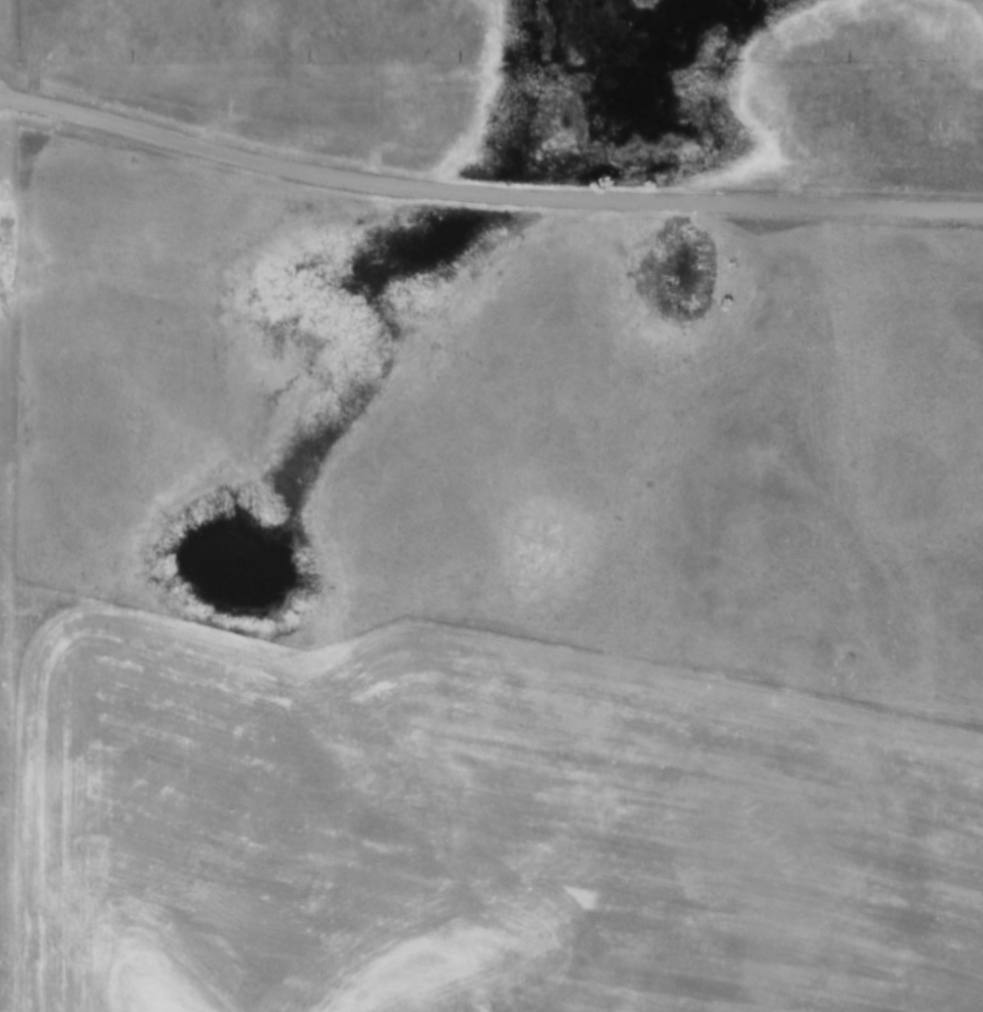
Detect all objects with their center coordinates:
road: (485, 193)

